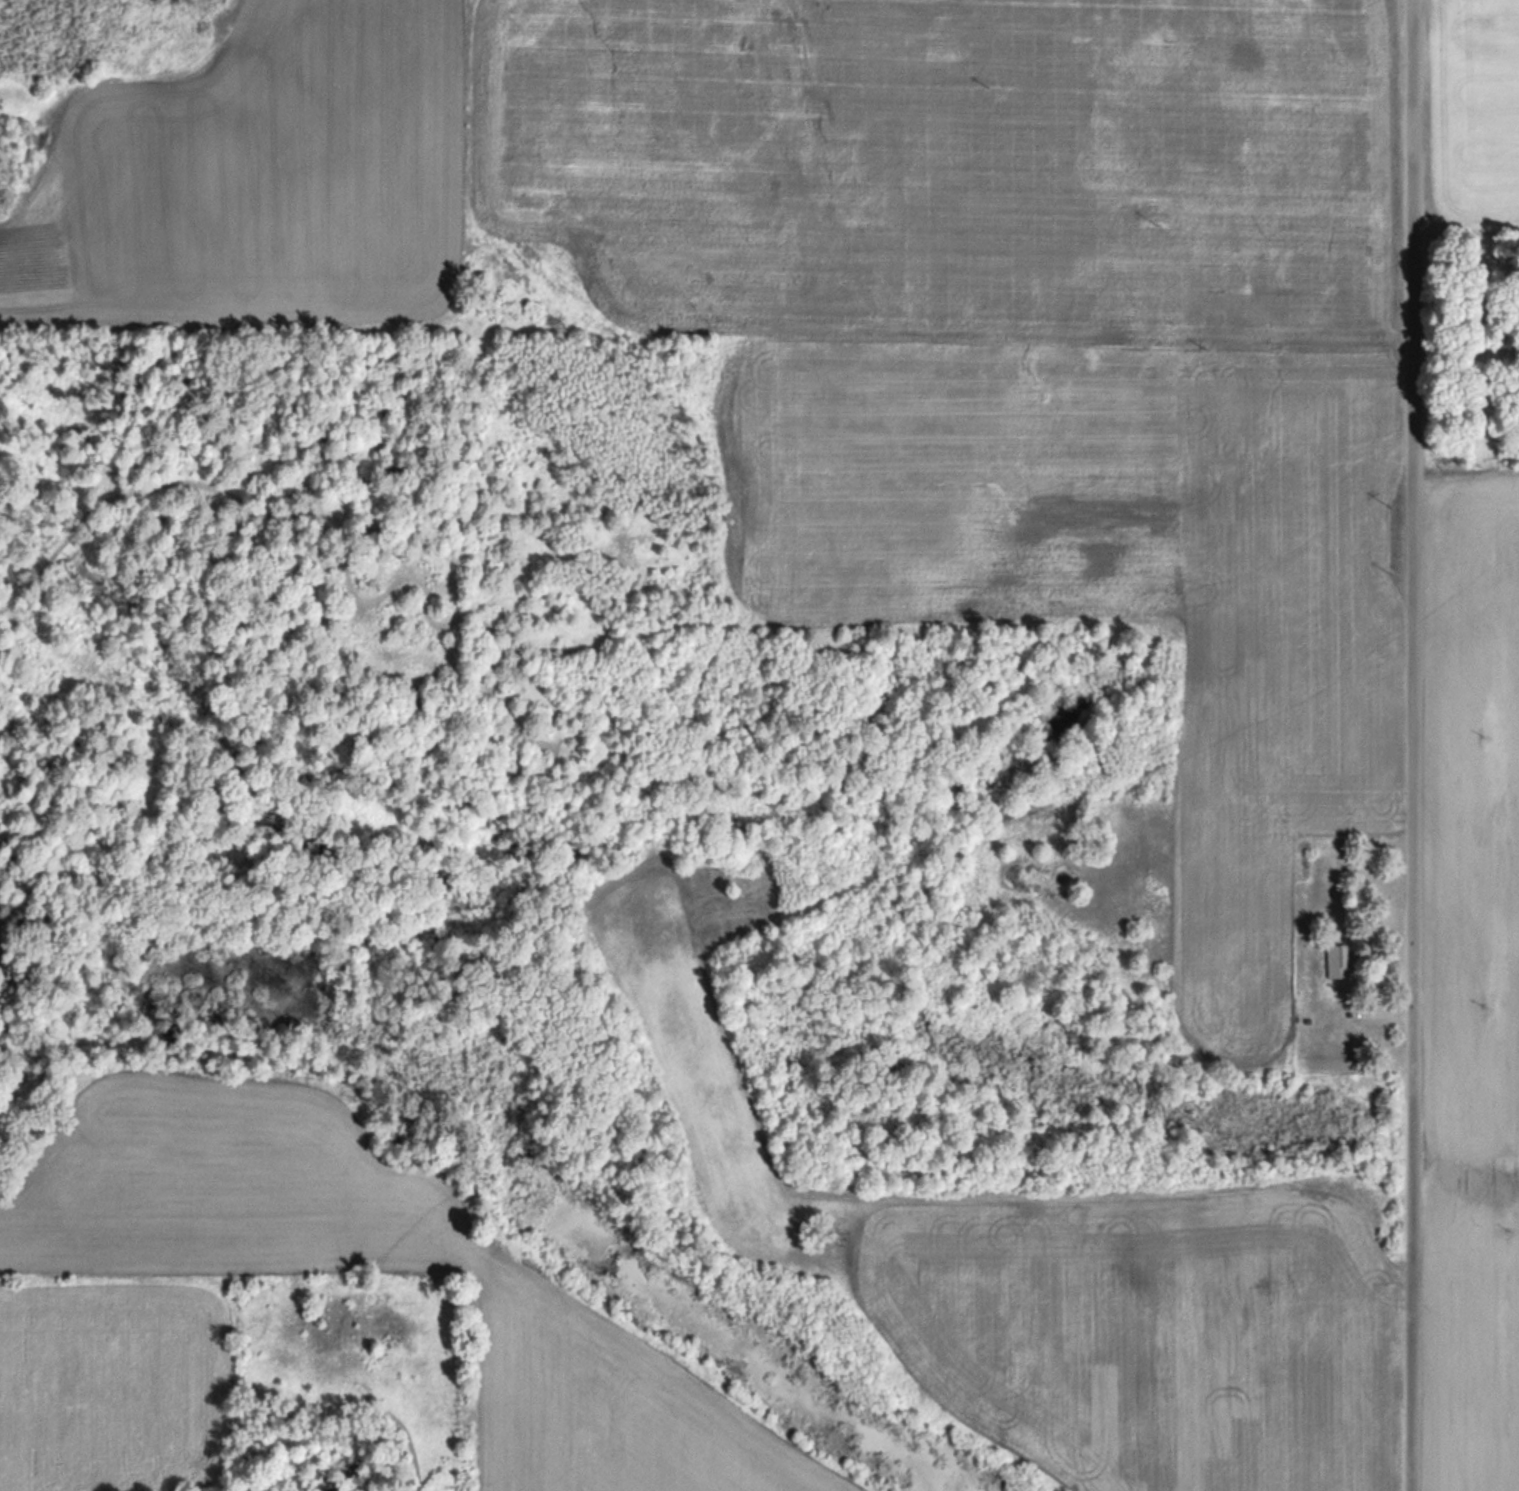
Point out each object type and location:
road: (1409, 745)
building: (1336, 961)

